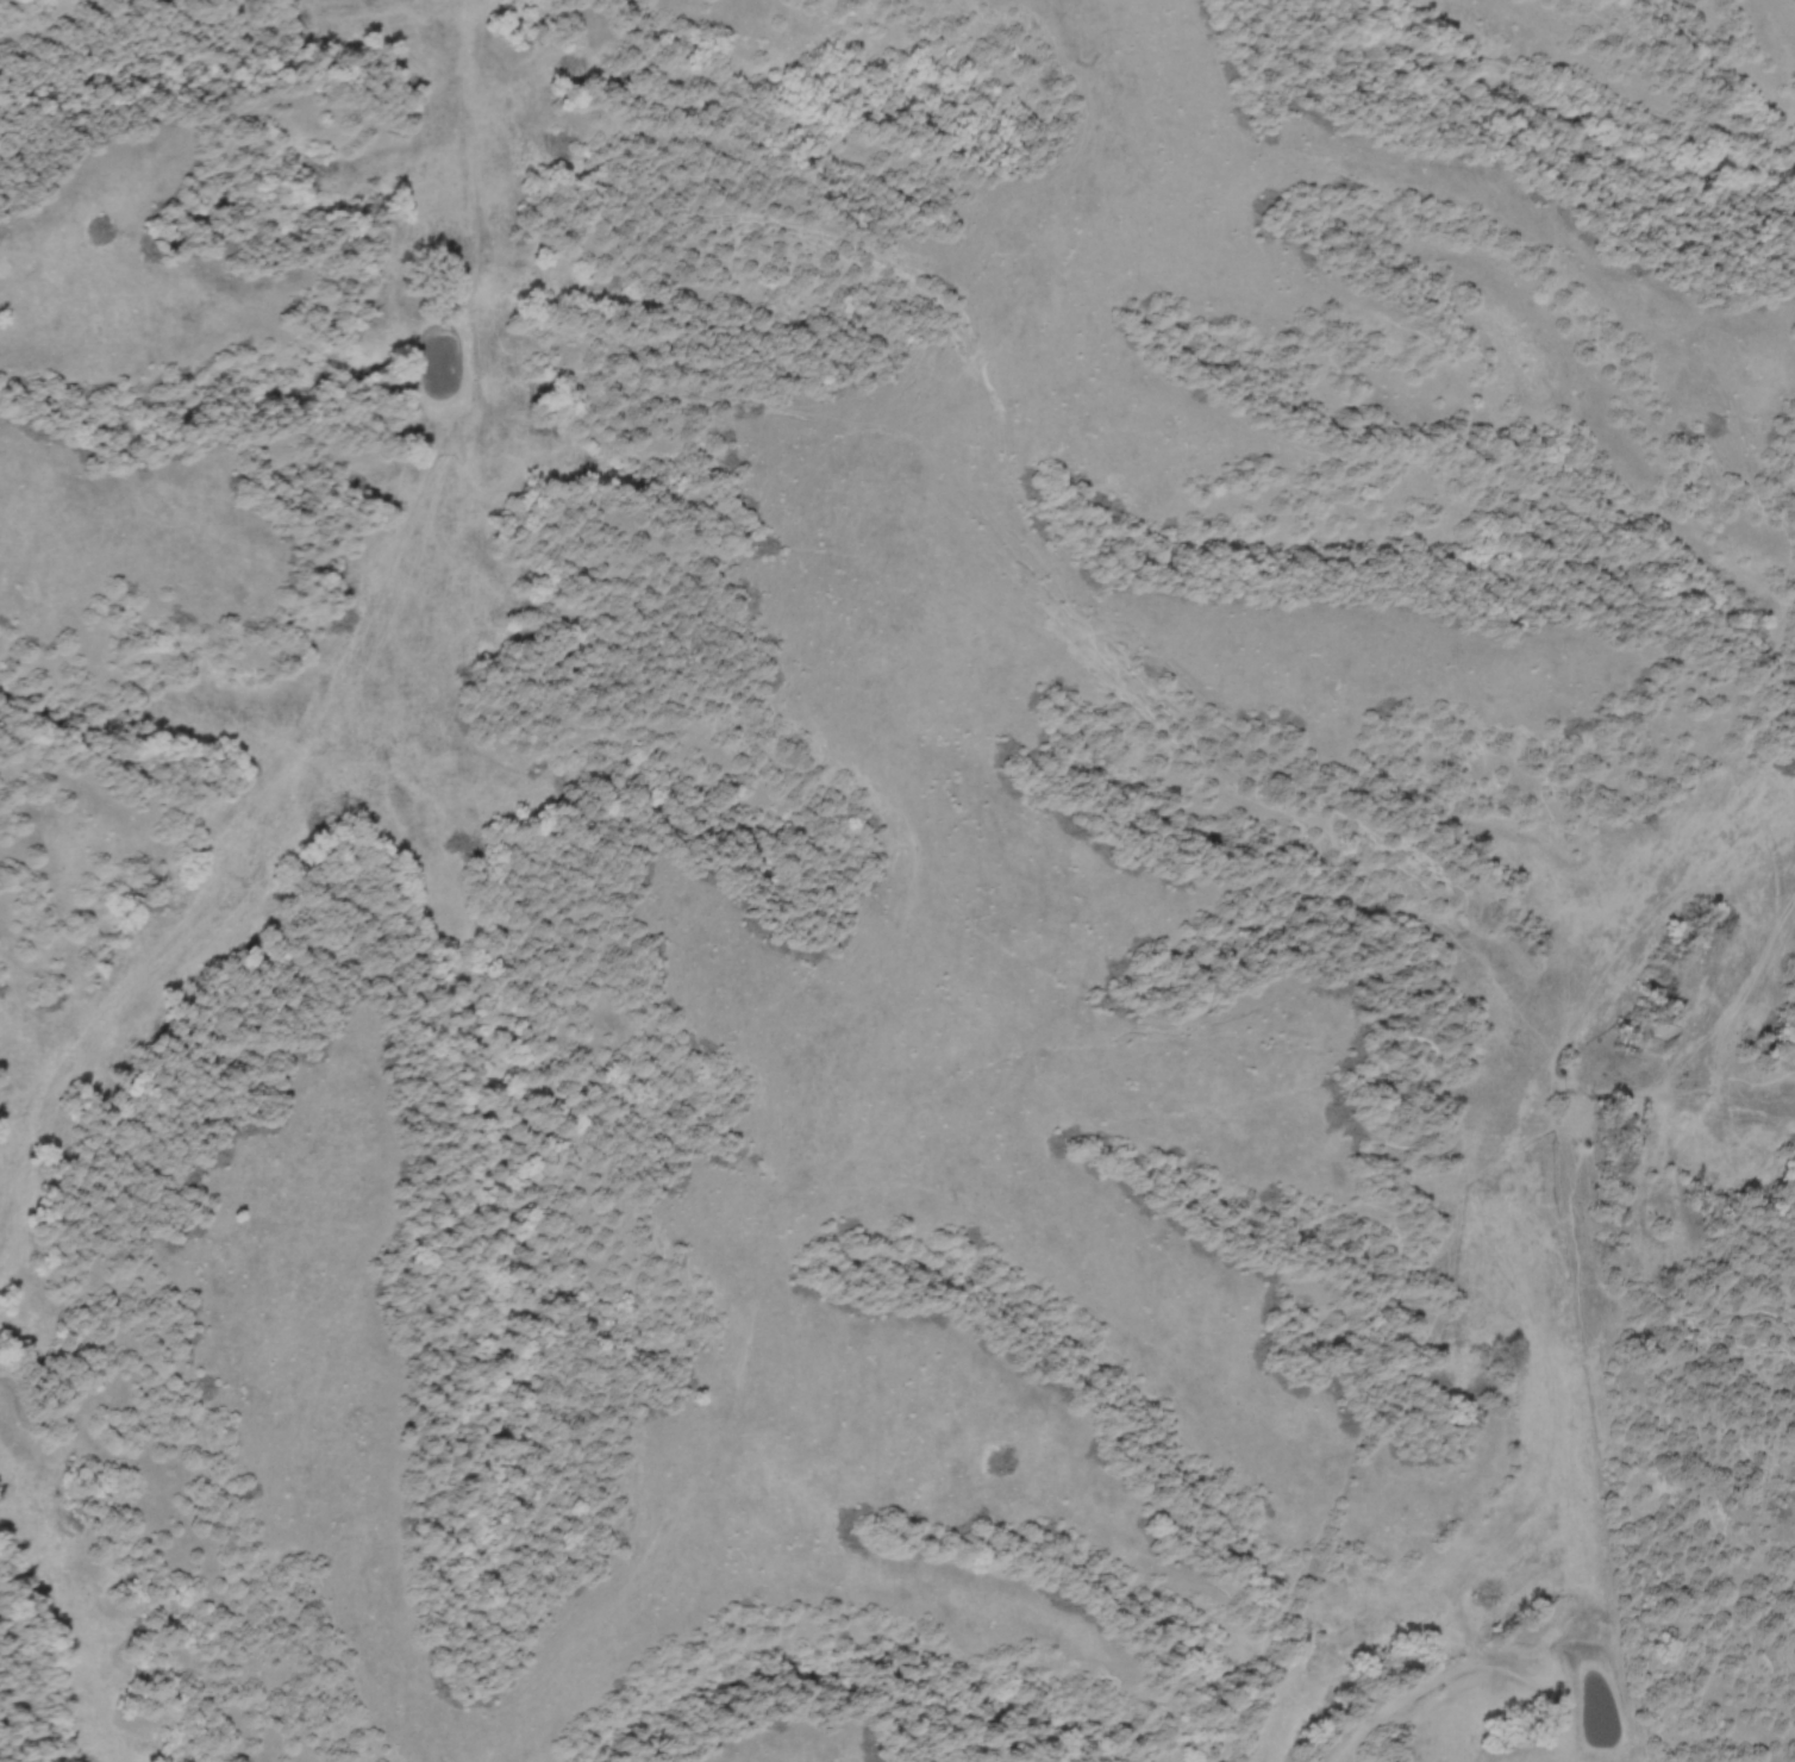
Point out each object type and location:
road: (1755, 971)
building: (1656, 1032)

